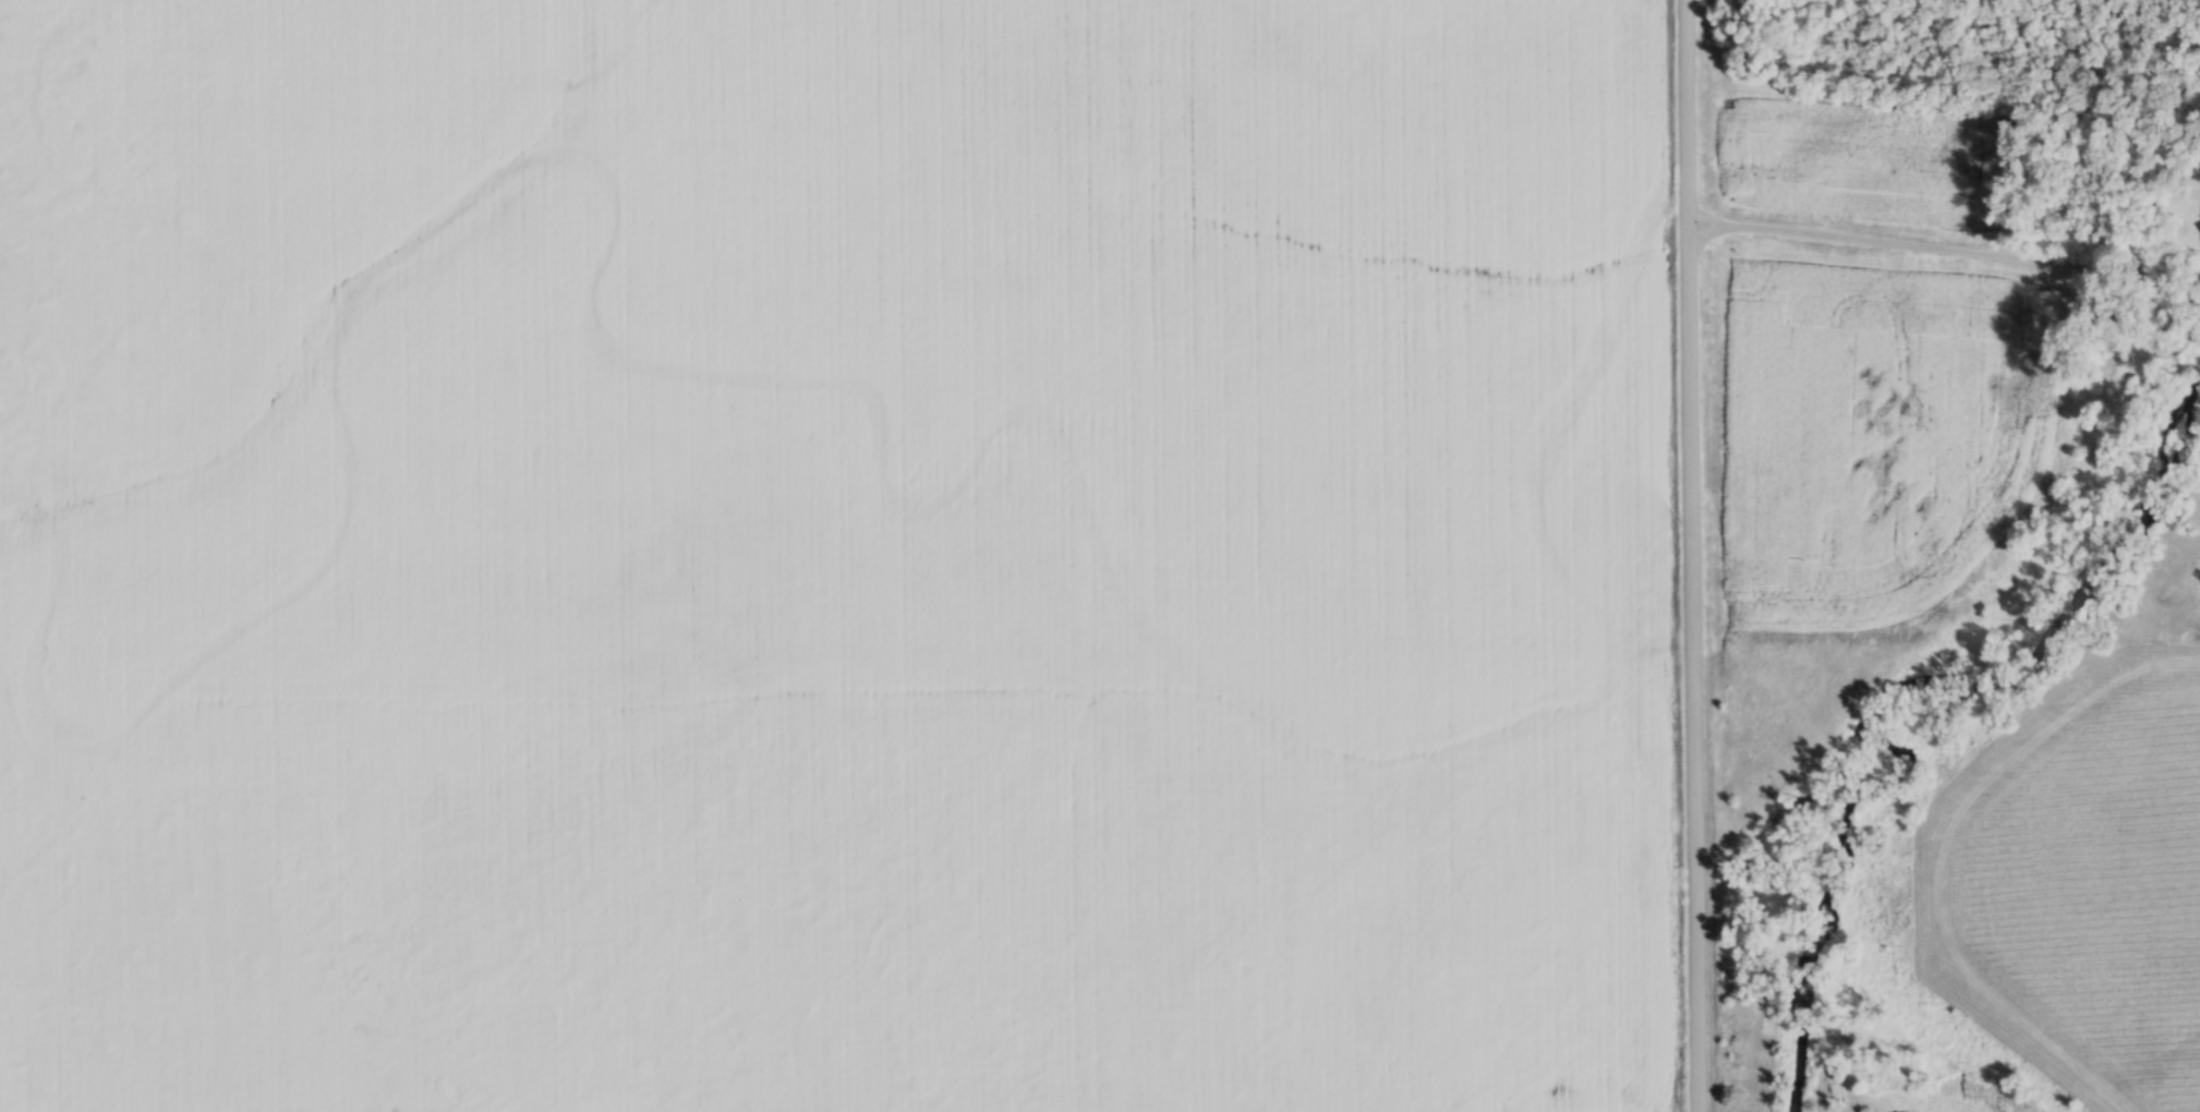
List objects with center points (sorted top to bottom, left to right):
road: (1692, 556)
river: (1930, 715)

